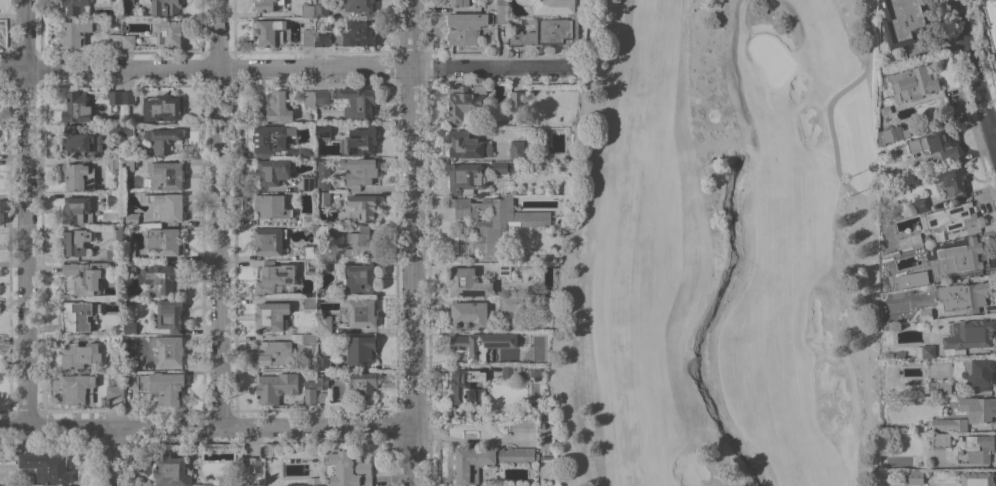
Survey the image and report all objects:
building: (459, 3)
building: (266, 4)
building: (127, 5)
building: (502, 5)
building: (76, 6)
building: (360, 6)
building: (551, 6)
building: (166, 7)
building: (322, 9)
building: (308, 11)
building: (502, 17)
building: (991, 19)
building: (525, 21)
building: (905, 21)
building: (466, 27)
building: (270, 31)
building: (79, 32)
building: (167, 32)
building: (359, 33)
building: (547, 33)
road: (222, 34)
road: (409, 34)
road: (27, 36)
building: (308, 37)
building: (322, 39)
building: (115, 40)
building: (128, 40)
building: (995, 62)
road: (283, 68)
road: (974, 77)
building: (913, 83)
building: (322, 96)
building: (115, 97)
building: (128, 97)
building: (309, 97)
building: (517, 99)
building: (356, 101)
building: (465, 103)
building: (275, 105)
building: (77, 107)
building: (163, 107)
building: (885, 110)
road: (992, 128)
building: (115, 131)
building: (129, 131)
building: (323, 131)
building: (892, 134)
building: (163, 139)
building: (360, 141)
building: (76, 142)
building: (278, 142)
building: (467, 145)
building: (934, 147)
building: (517, 150)
road: (835, 151)
building: (128, 164)
building: (115, 165)
building: (505, 167)
building: (273, 171)
building: (359, 172)
building: (324, 174)
building: (78, 176)
building: (164, 176)
building: (466, 177)
building: (954, 181)
building: (308, 184)
building: (113, 199)
building: (324, 199)
building: (921, 204)
building: (166, 206)
building: (272, 206)
building: (363, 207)
building: (77, 210)
building: (131, 218)
building: (953, 218)
building: (309, 219)
building: (493, 220)
building: (322, 234)
building: (164, 240)
building: (270, 240)
building: (77, 241)
building: (910, 242)
building: (361, 243)
building: (116, 246)
building: (128, 247)
road: (223, 248)
road: (27, 249)
park: (720, 249)
building: (310, 252)
building: (961, 256)
building: (323, 265)
building: (130, 267)
building: (310, 267)
building: (503, 270)
building: (86, 275)
building: (160, 275)
building: (275, 276)
building: (359, 276)
road: (409, 276)
building: (922, 276)
building: (467, 282)
building: (910, 282)
building: (968, 296)
building: (309, 303)
building: (510, 303)
building: (358, 311)
building: (471, 314)
building: (926, 314)
building: (170, 315)
building: (75, 316)
building: (272, 316)
building: (324, 324)
building: (130, 327)
building: (968, 335)
building: (306, 339)
building: (115, 340)
building: (482, 344)
building: (169, 349)
building: (360, 350)
building: (925, 351)
building: (80, 353)
building: (274, 353)
building: (889, 354)
building: (900, 354)
road: (566, 355)
building: (129, 359)
building: (323, 363)
building: (511, 371)
building: (975, 372)
building: (313, 373)
road: (864, 374)
building: (323, 382)
building: (363, 385)
building: (163, 386)
building: (467, 386)
building: (276, 387)
building: (939, 387)
building: (76, 388)
building: (310, 393)
building: (112, 394)
building: (323, 396)
building: (968, 414)
road: (205, 427)
road: (466, 440)
building: (941, 440)
building: (979, 448)
road: (111, 457)
building: (487, 460)
building: (253, 465)
building: (47, 467)
building: (347, 469)
building: (171, 470)
building: (916, 477)
building: (977, 479)

